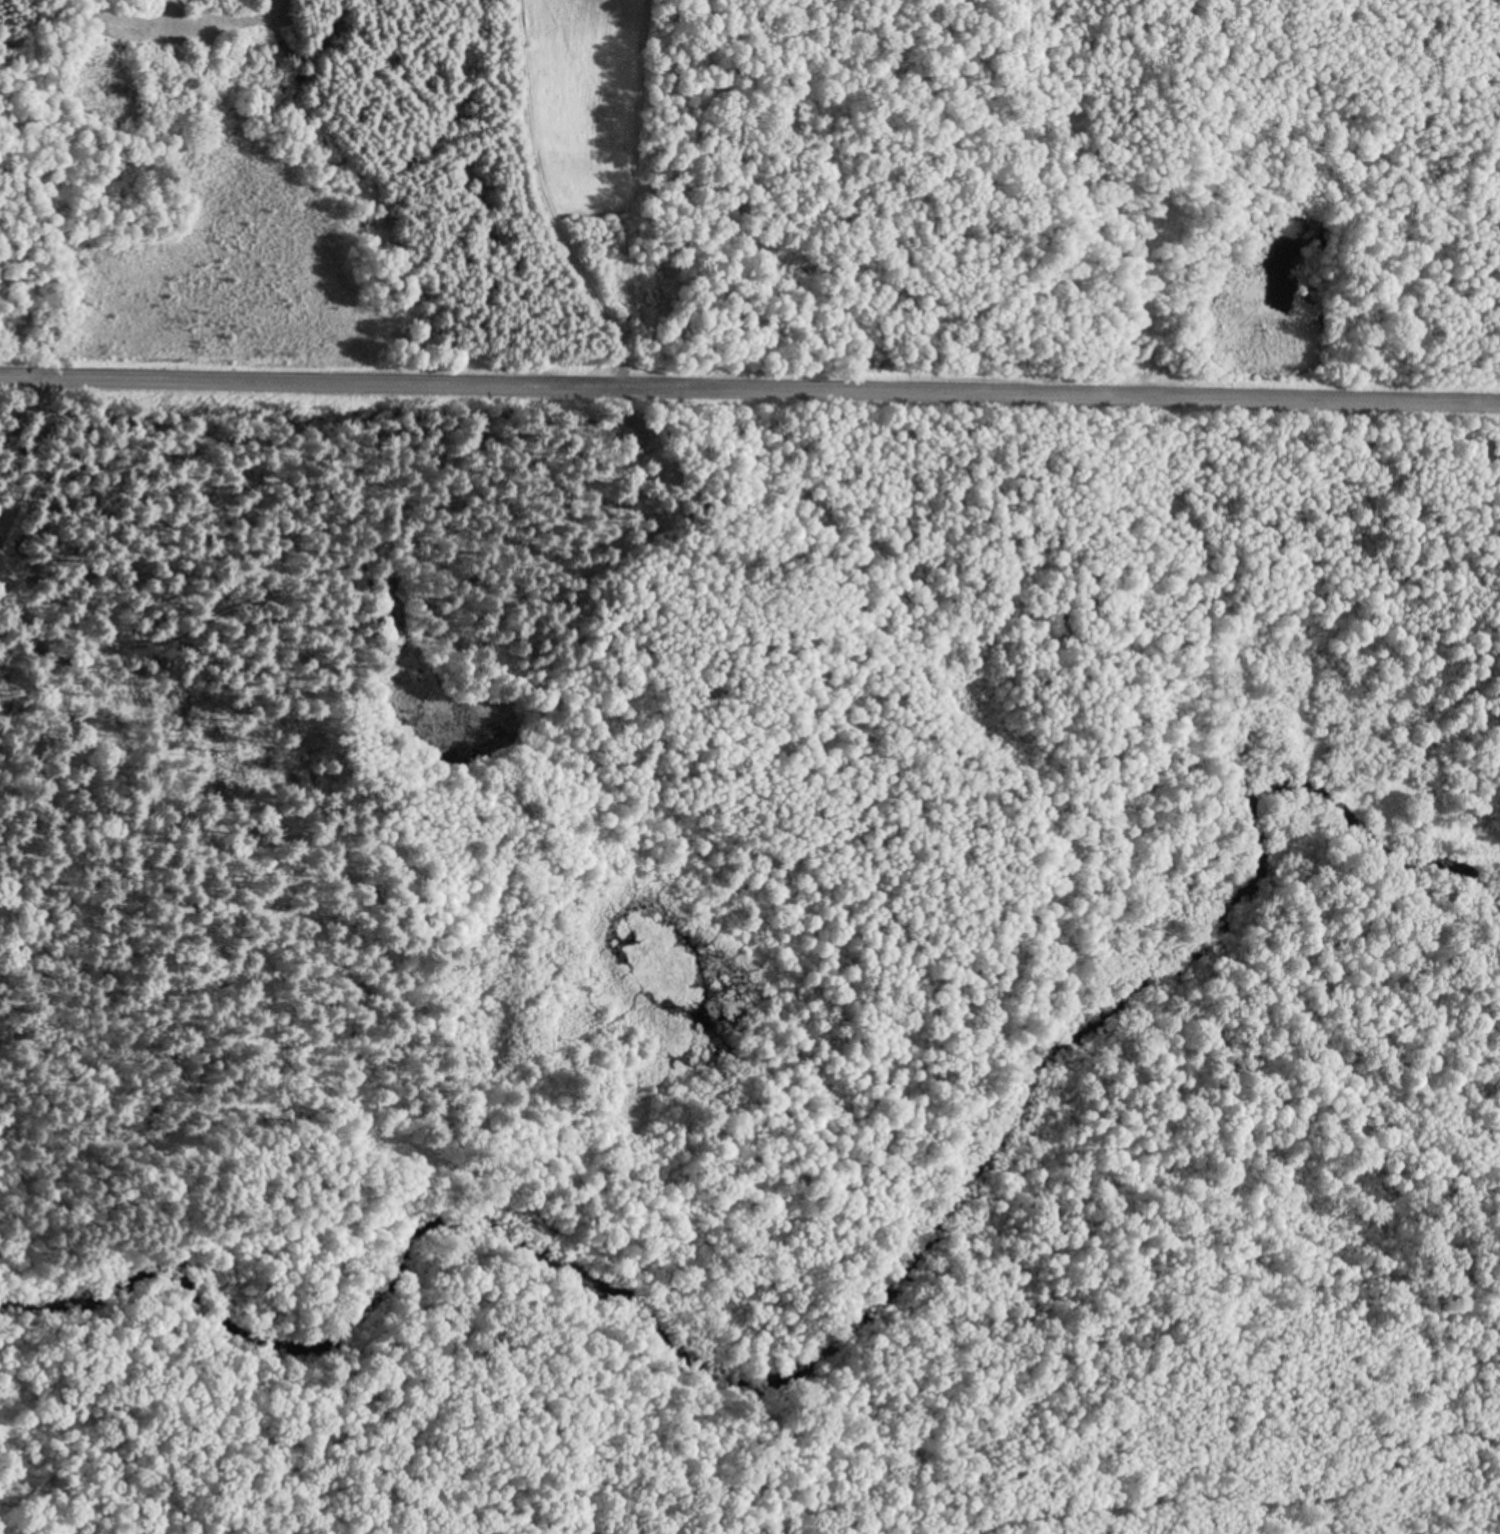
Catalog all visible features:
road: (750, 369)
river: (1250, 918)
river: (531, 1254)

